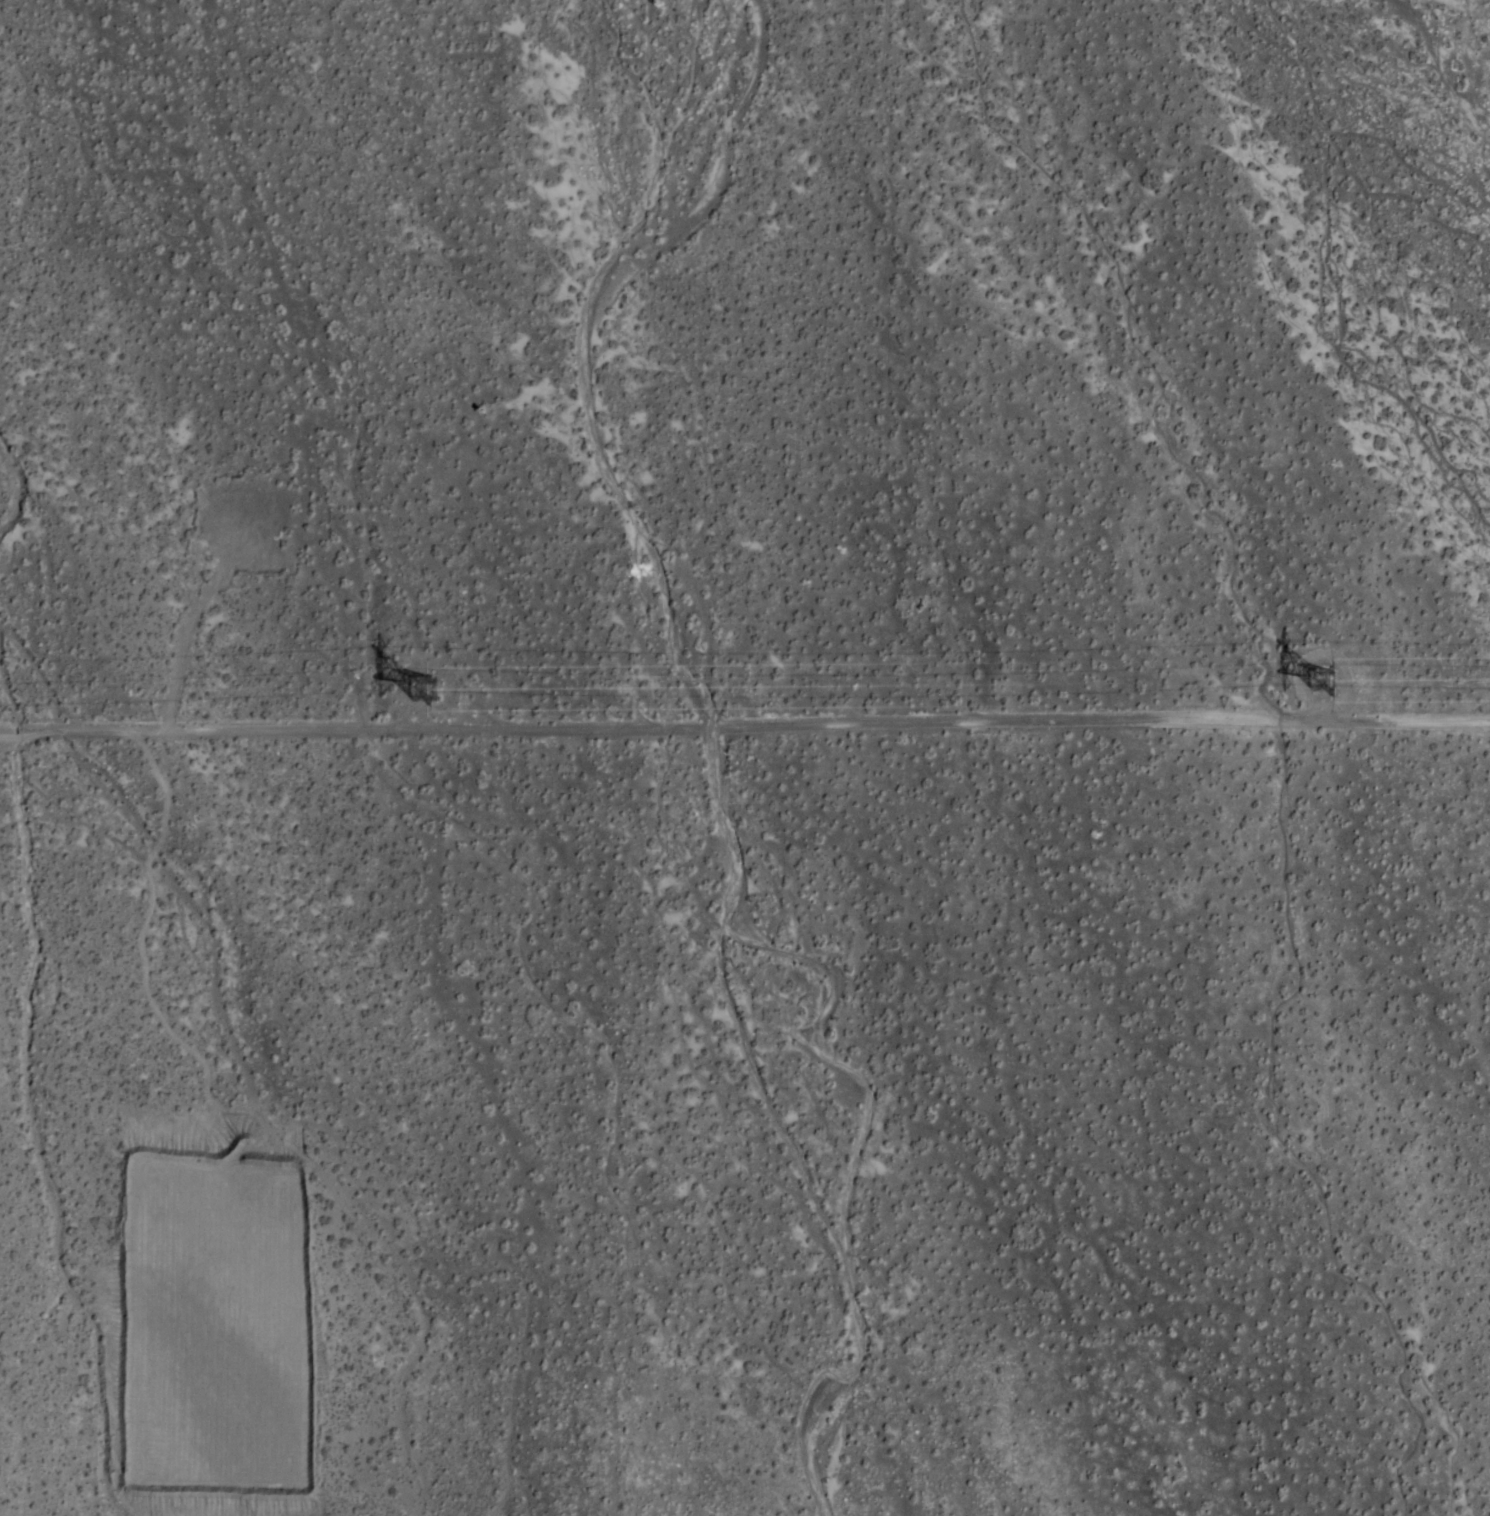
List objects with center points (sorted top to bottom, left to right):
power tower: (444, 681)
power tower: (1348, 684)
road: (745, 731)

